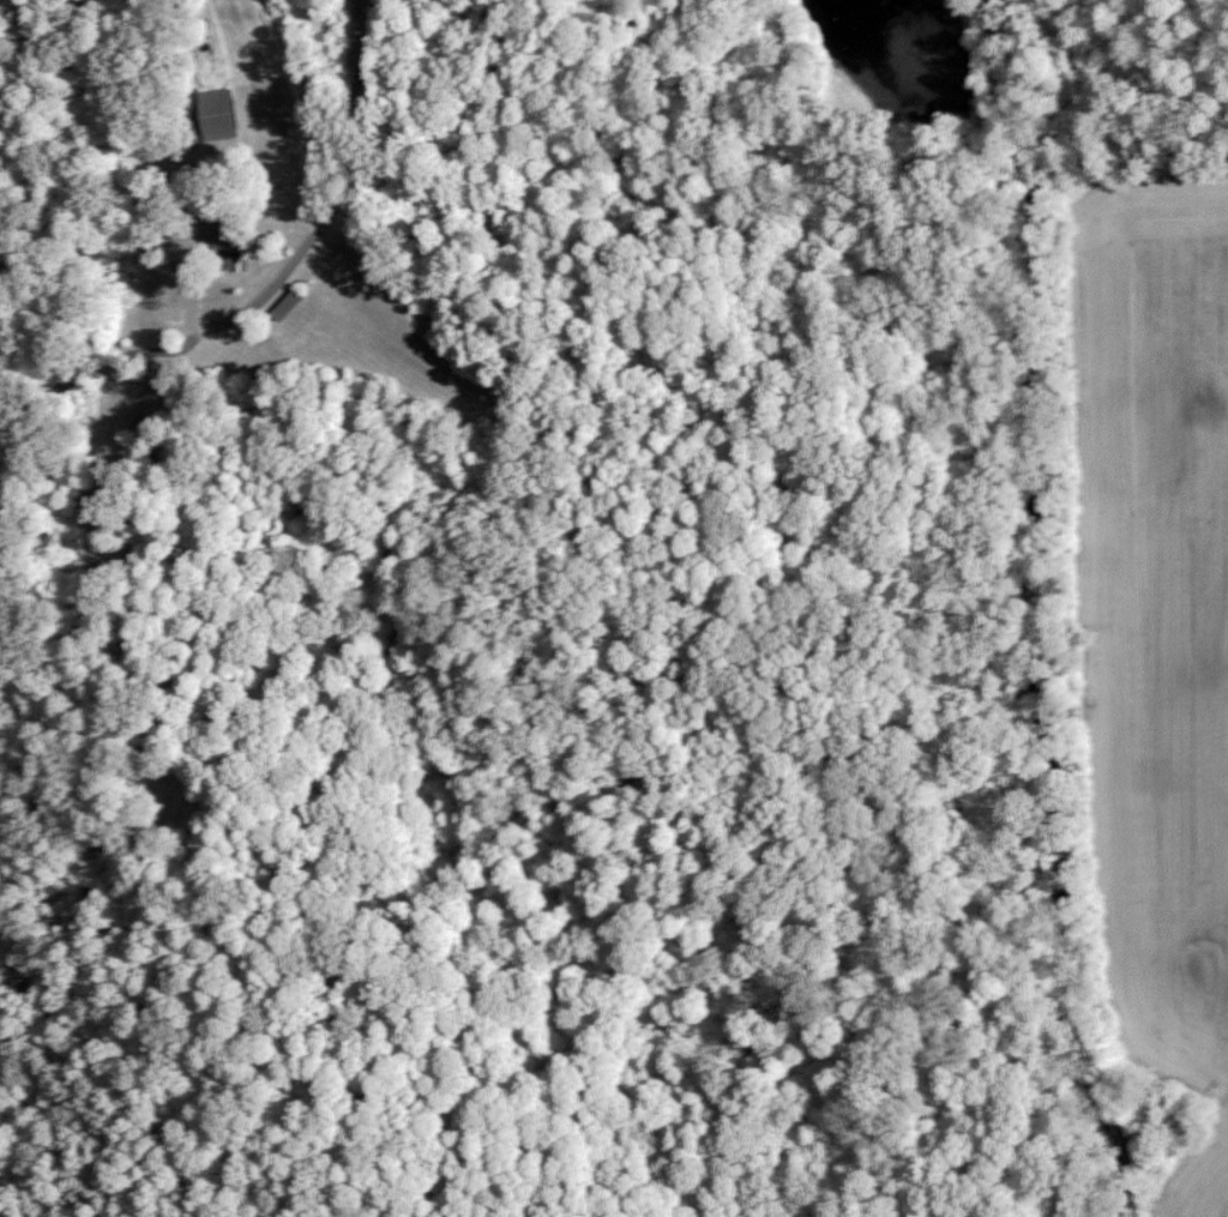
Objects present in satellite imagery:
road: (341, 211)
building: (222, 239)
building: (285, 303)
road: (140, 604)

